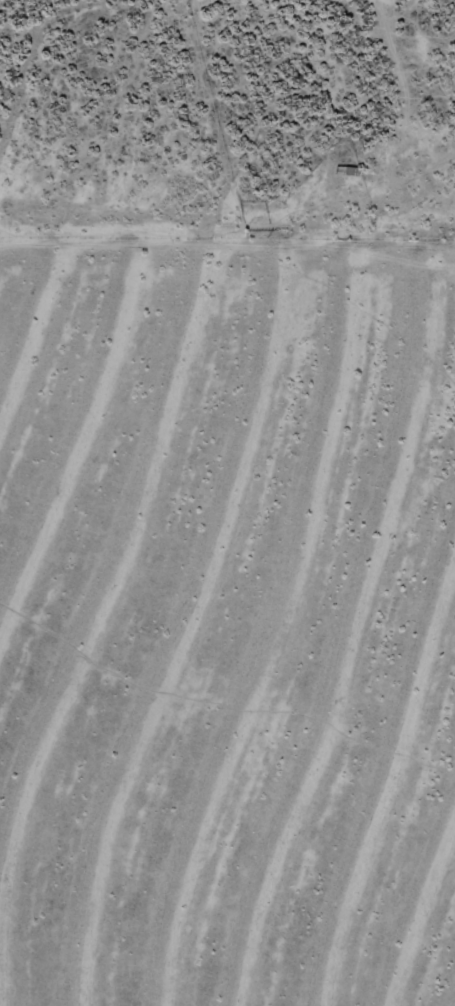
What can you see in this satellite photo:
road: (227, 217)

